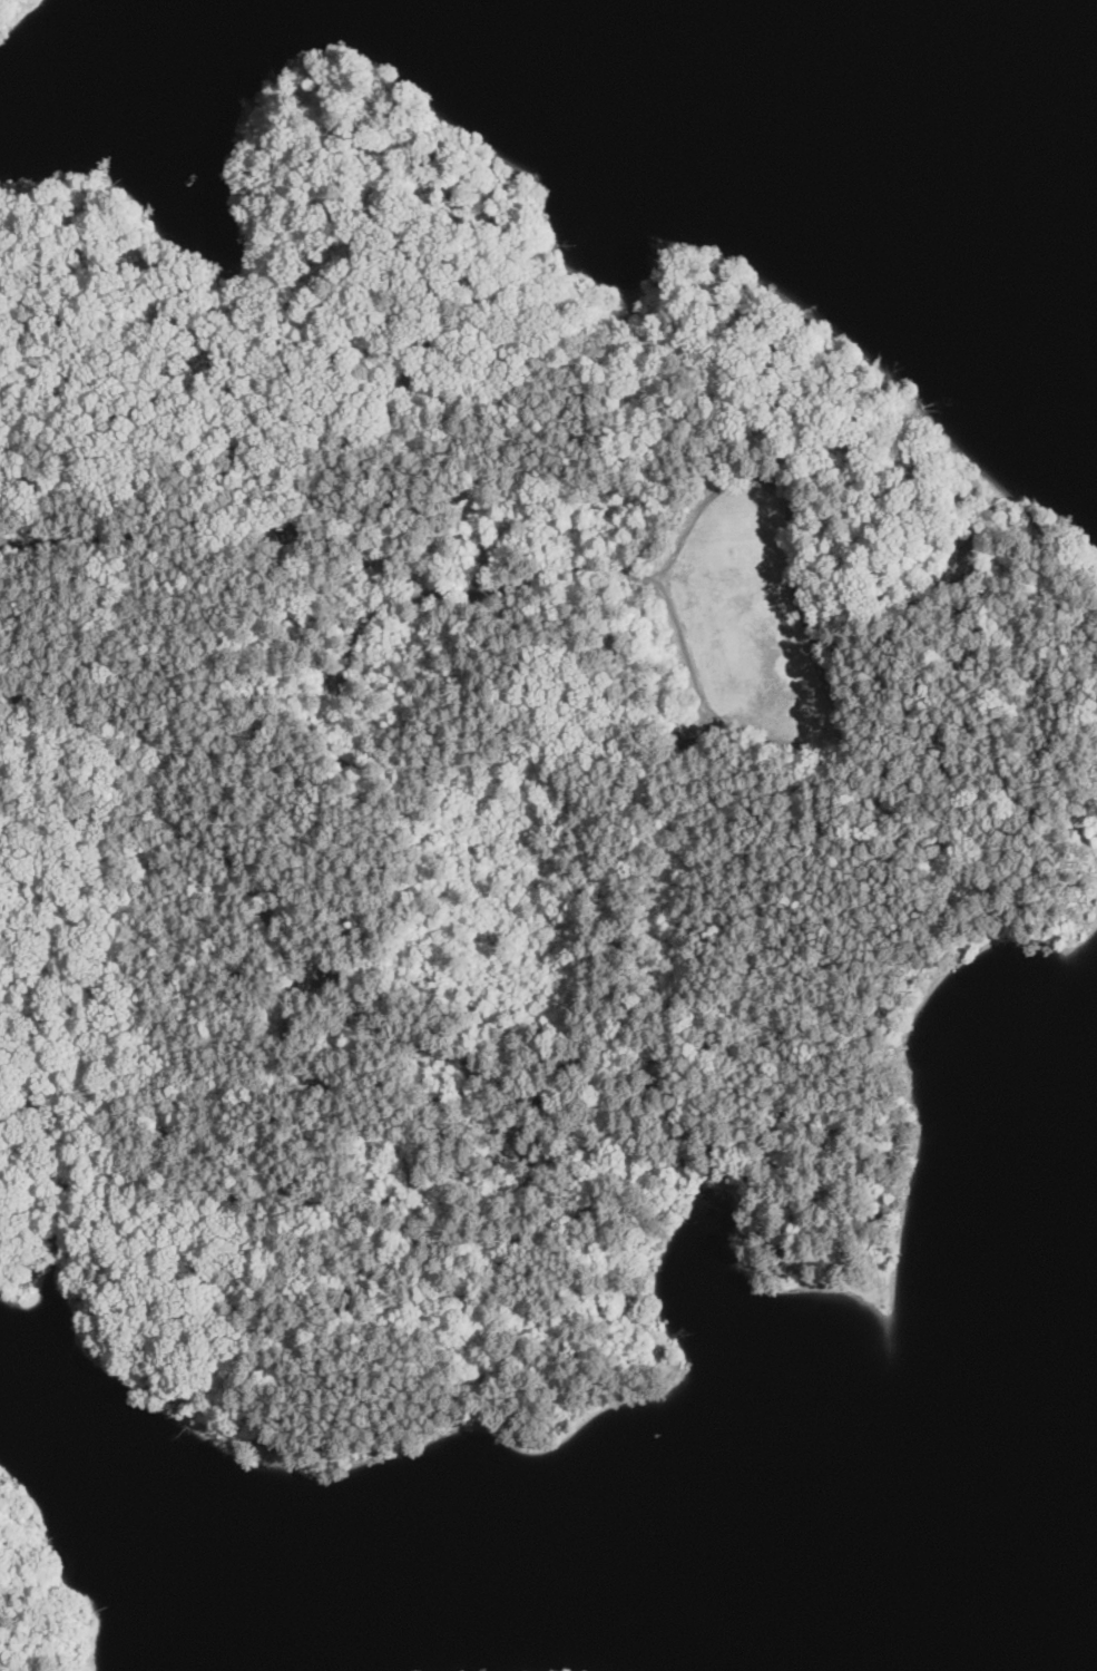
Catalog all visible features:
park: (21, 17)
river: (866, 77)
river: (1039, 234)
road: (460, 426)
building: (285, 531)
road: (334, 547)
road: (825, 668)
building: (331, 676)
building: (690, 735)
park: (484, 794)
road: (169, 798)
building: (327, 969)
road: (526, 1228)
river: (1034, 1406)
park: (40, 1594)
river: (1068, 1609)

